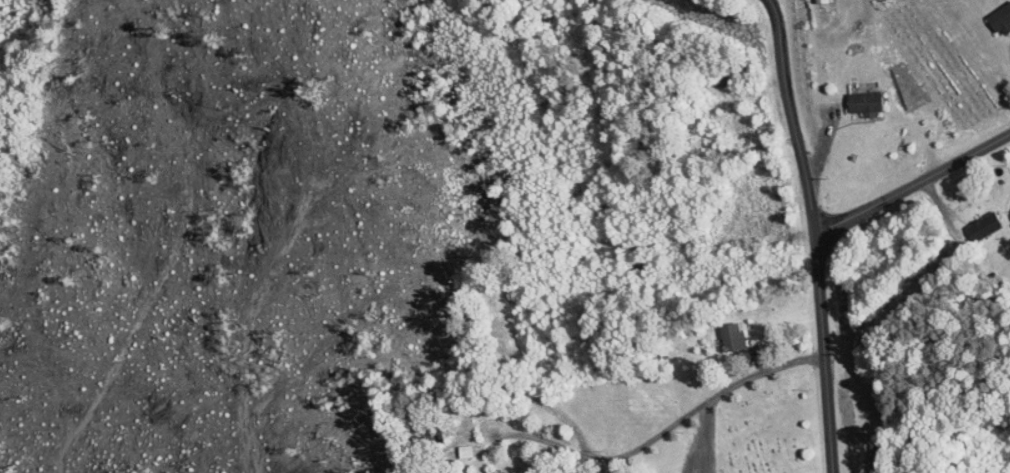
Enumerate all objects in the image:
building: (996, 13)
building: (858, 97)
road: (782, 111)
road: (909, 175)
building: (975, 220)
building: (724, 331)
road: (823, 347)
building: (456, 444)
road: (629, 451)

